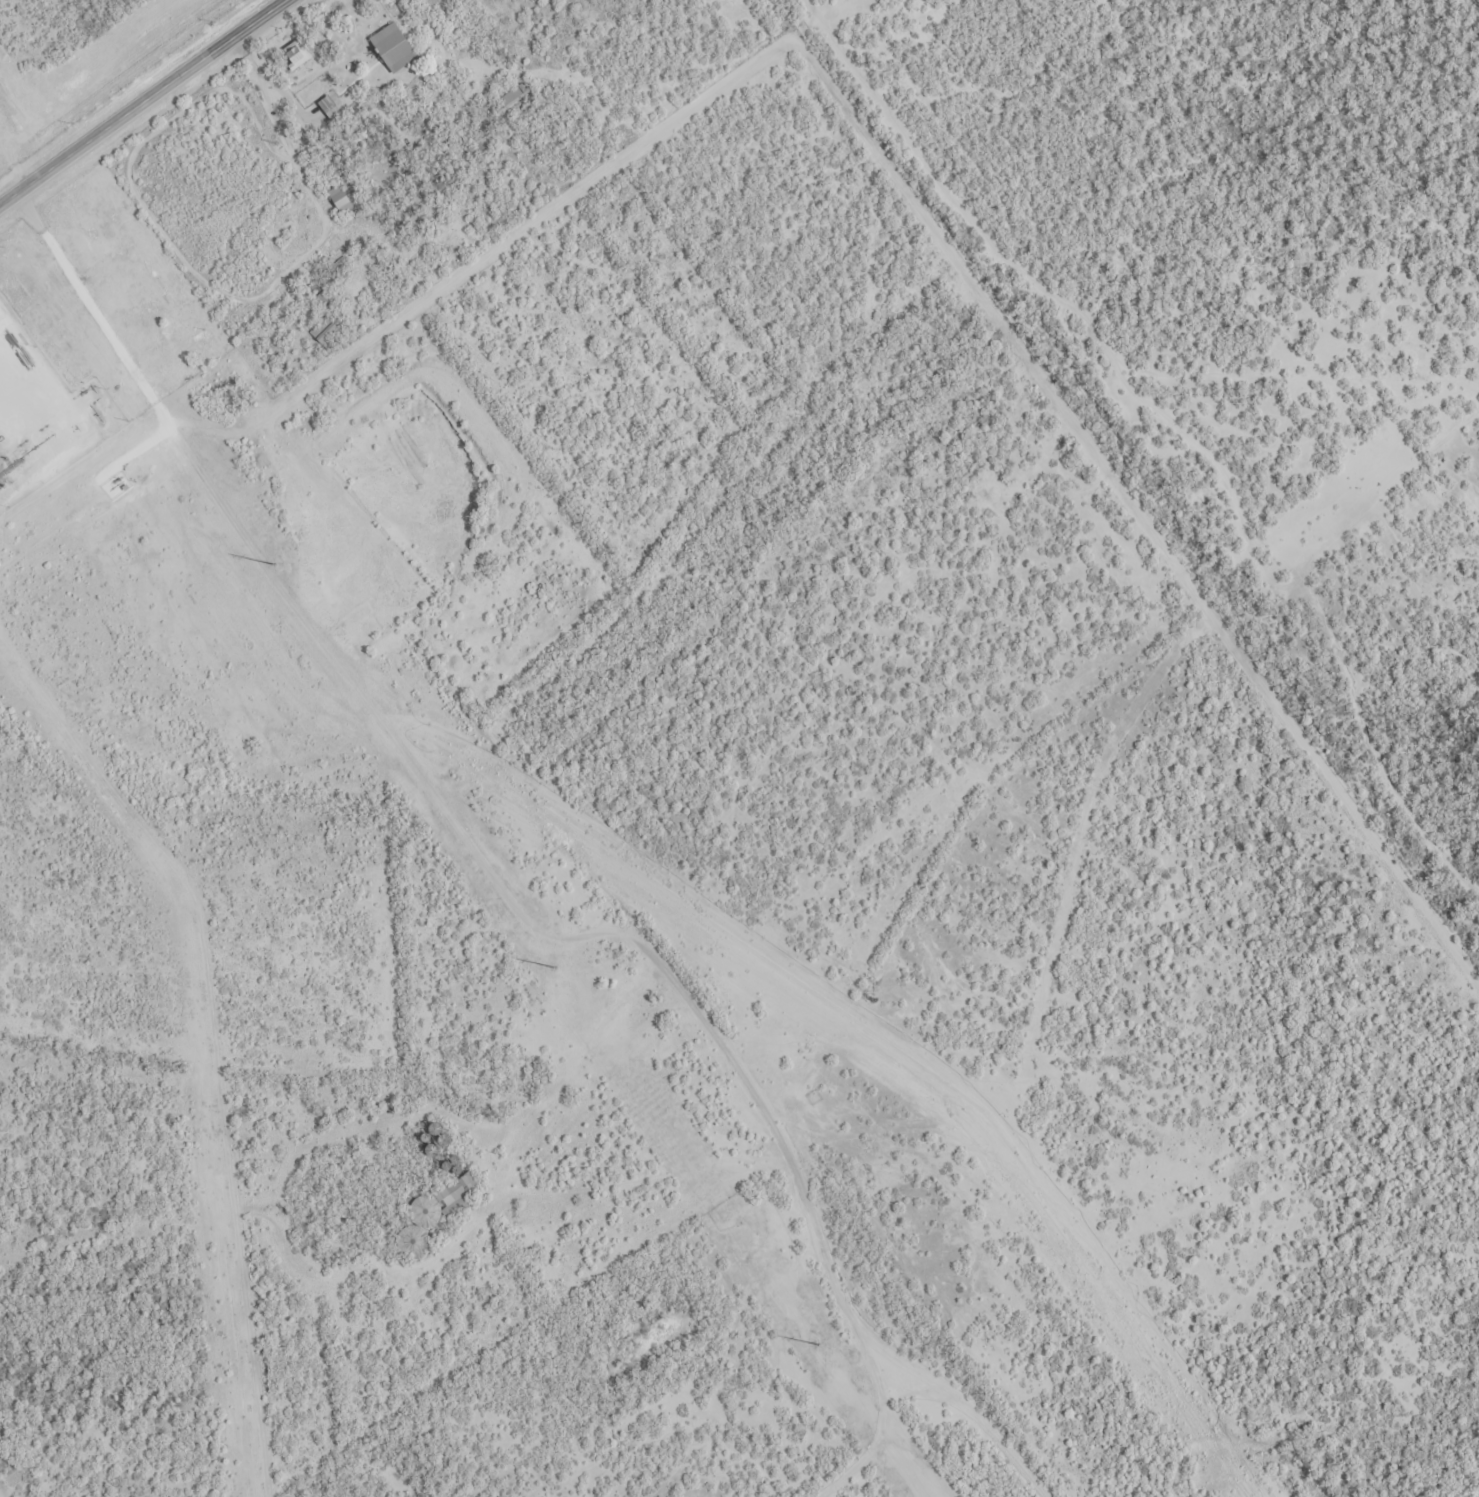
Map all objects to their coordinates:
building: (394, 47)
building: (297, 53)
building: (514, 94)
building: (330, 107)
road: (147, 108)
building: (340, 199)
building: (117, 210)
building: (166, 294)
road: (969, 298)
building: (323, 330)
power tower: (276, 565)
road: (326, 589)
road: (1325, 803)
power tower: (557, 968)
road: (803, 1003)
building: (459, 1193)
power tower: (819, 1345)

